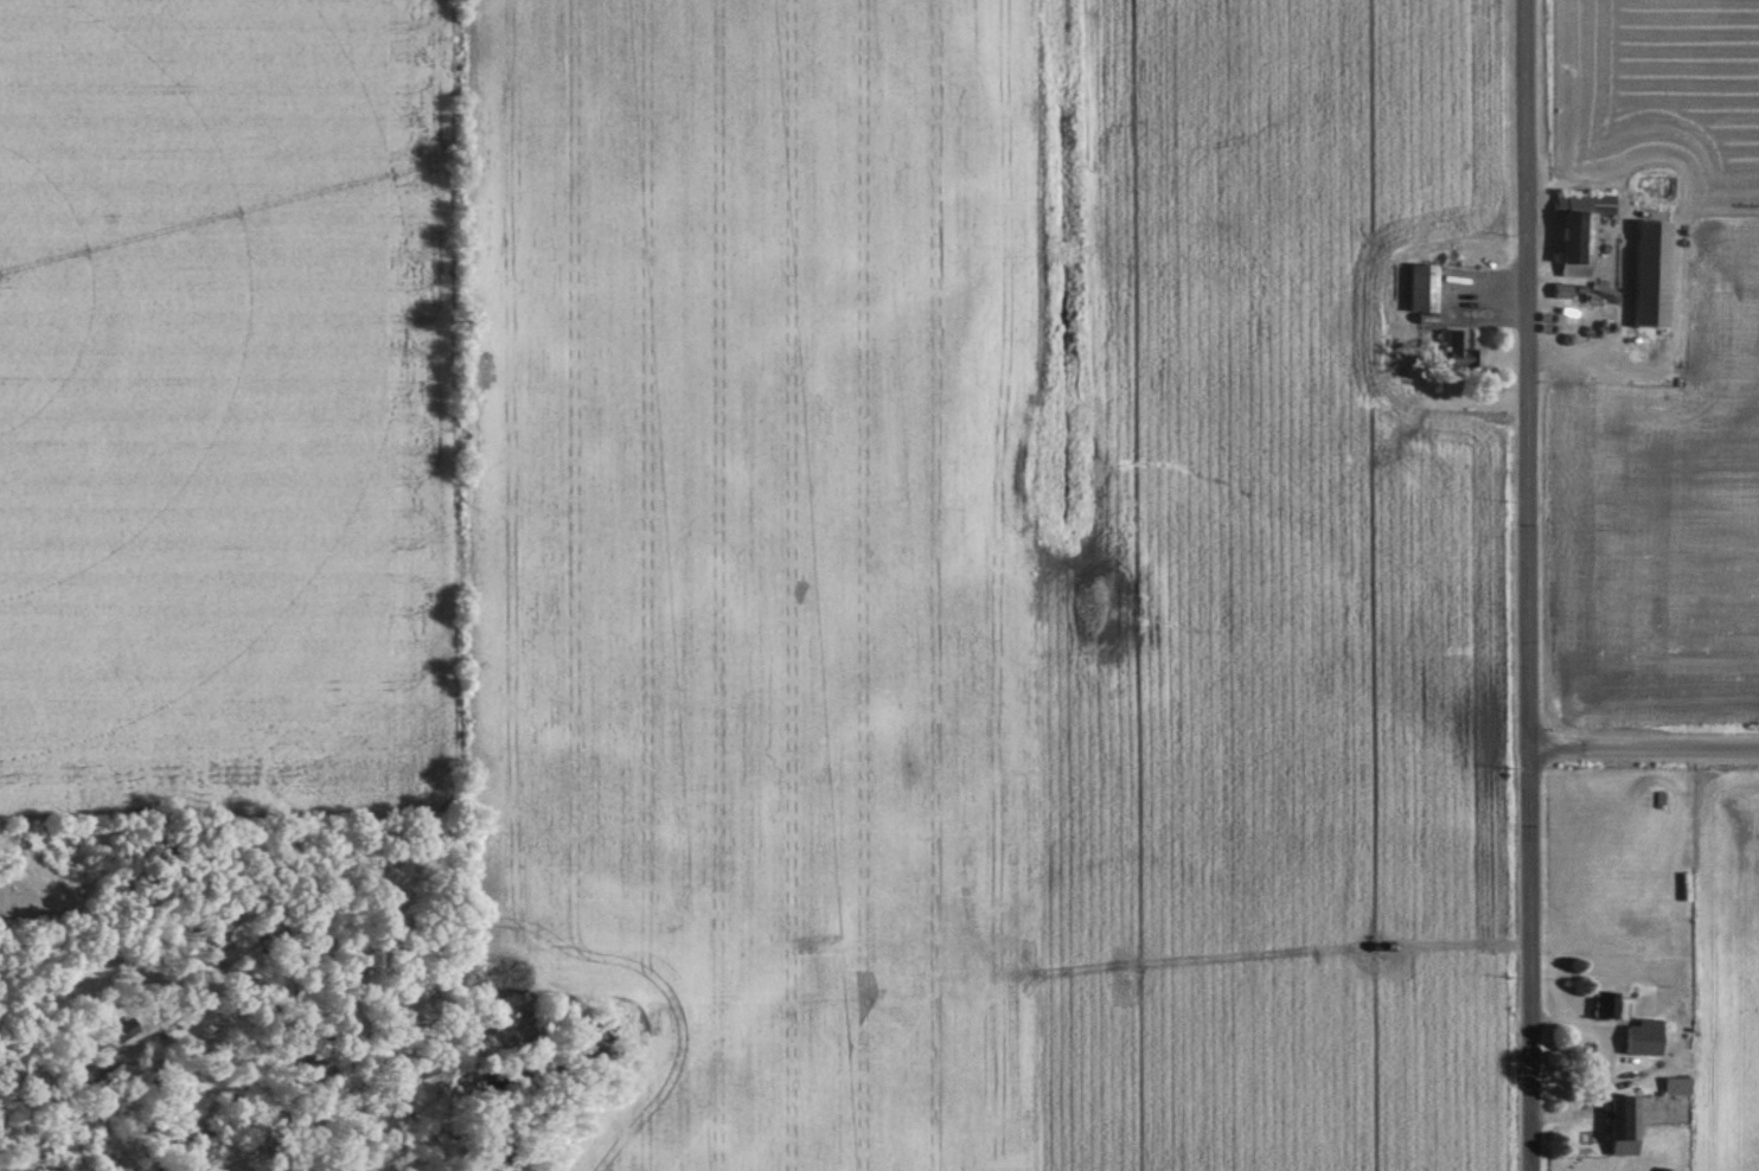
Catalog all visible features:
building: (1578, 233)
building: (1651, 276)
building: (1418, 292)
building: (1559, 294)
building: (1345, 332)
building: (1454, 352)
road: (1531, 585)
road: (1645, 749)
building: (1605, 1006)
building: (1639, 1039)
building: (1620, 1127)

